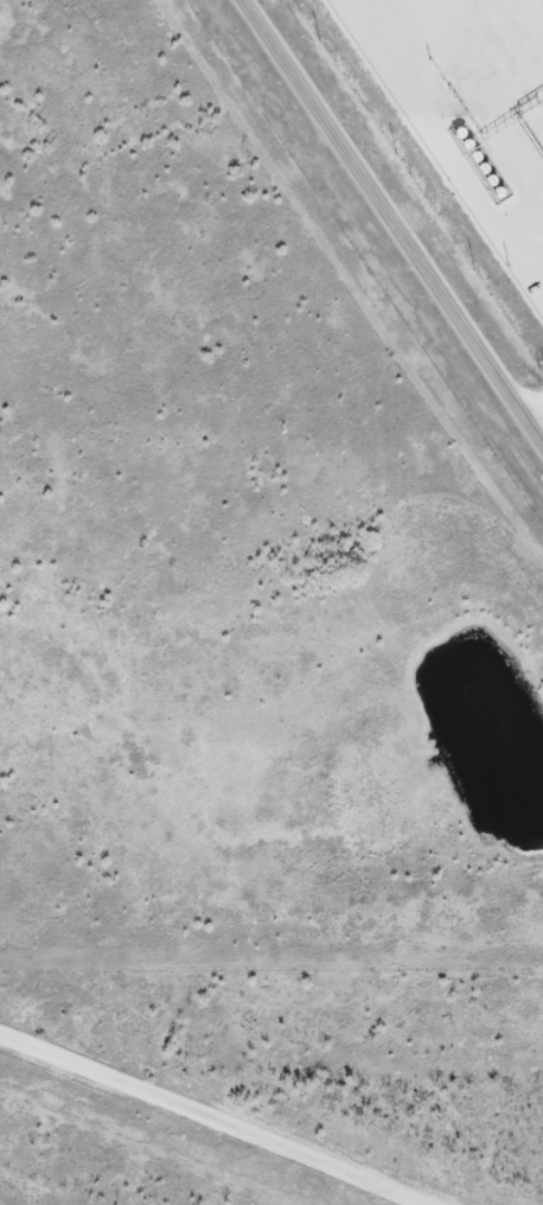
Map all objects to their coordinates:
road: (392, 221)
road: (539, 429)
road: (212, 1114)

